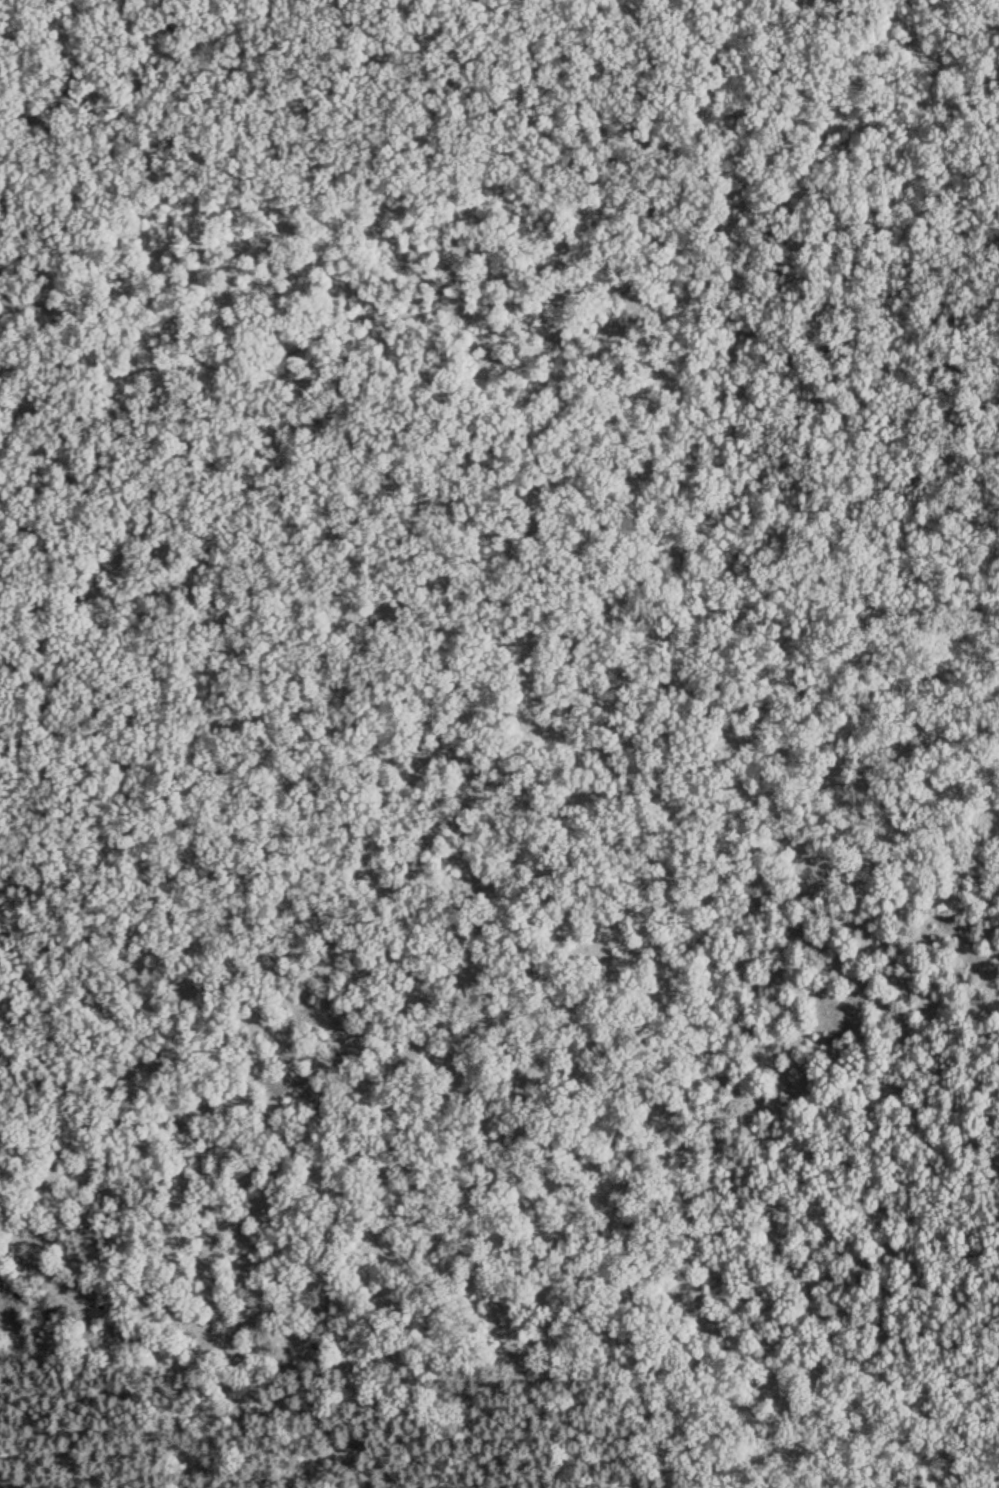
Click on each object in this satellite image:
building: (7, 883)

